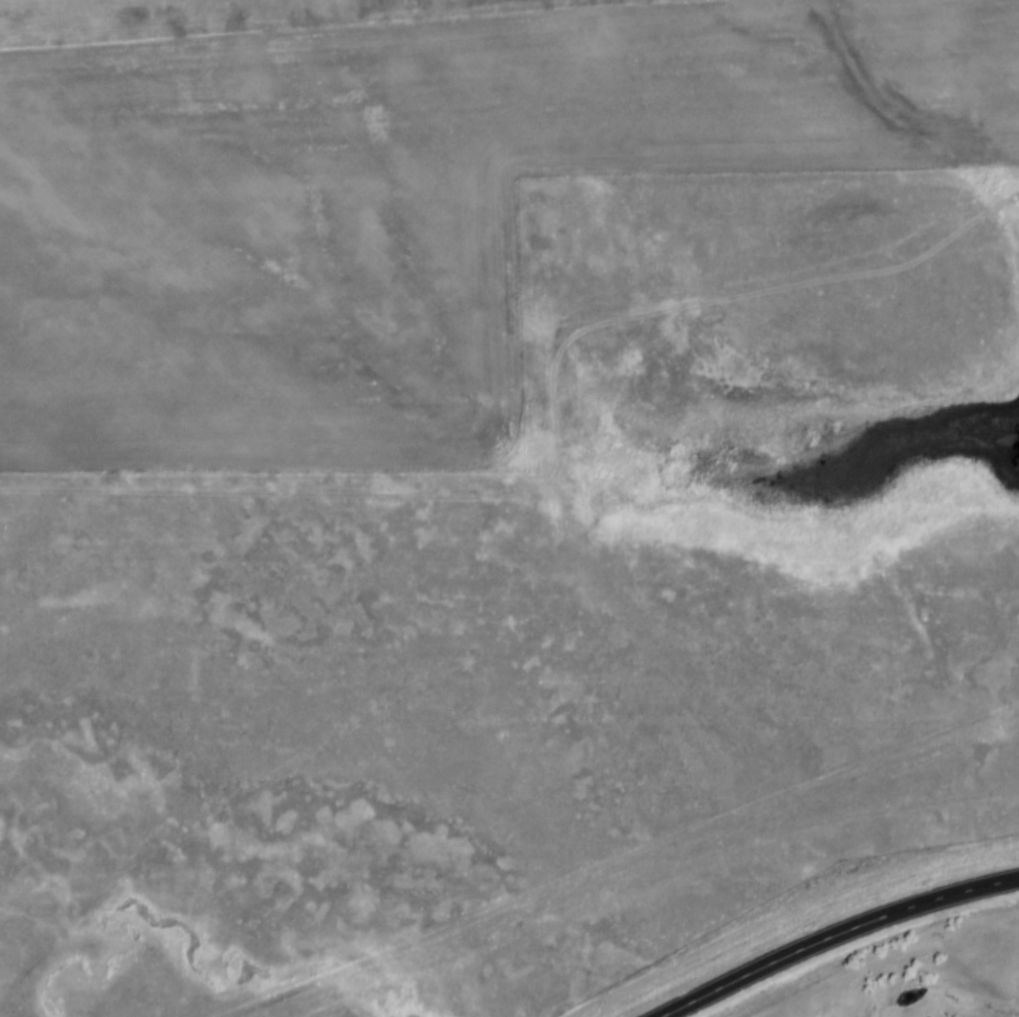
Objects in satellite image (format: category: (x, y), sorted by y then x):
road: (464, 670)
road: (837, 935)

